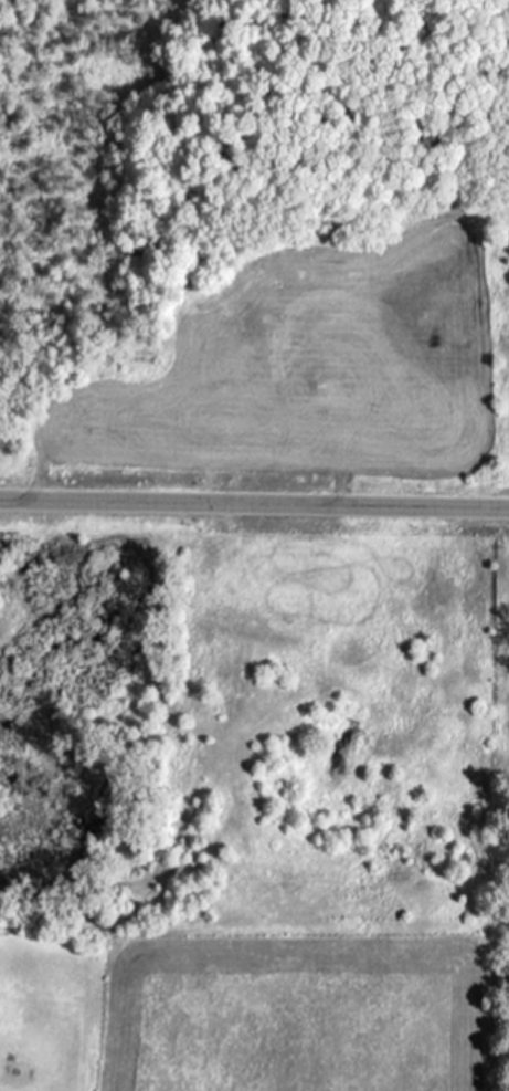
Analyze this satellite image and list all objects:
road: (254, 504)

